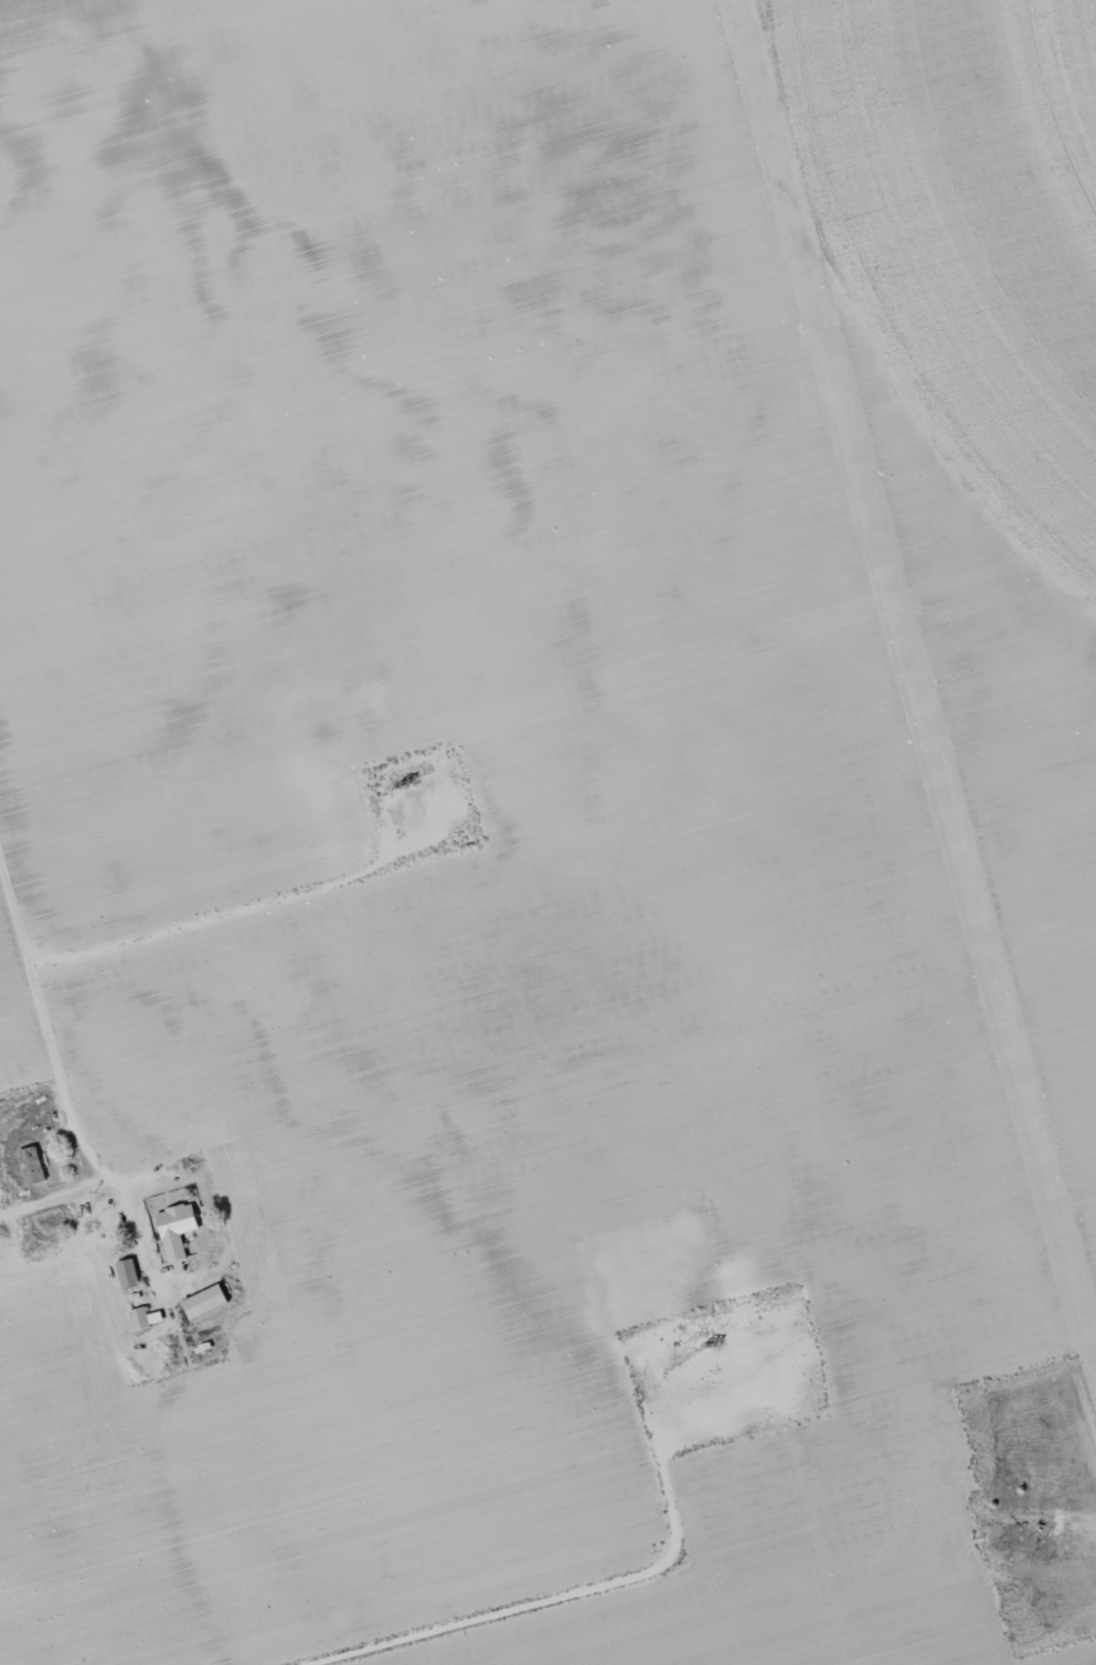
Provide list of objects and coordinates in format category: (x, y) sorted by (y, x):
road: (387, 1150)
building: (125, 1275)
building: (202, 1304)

